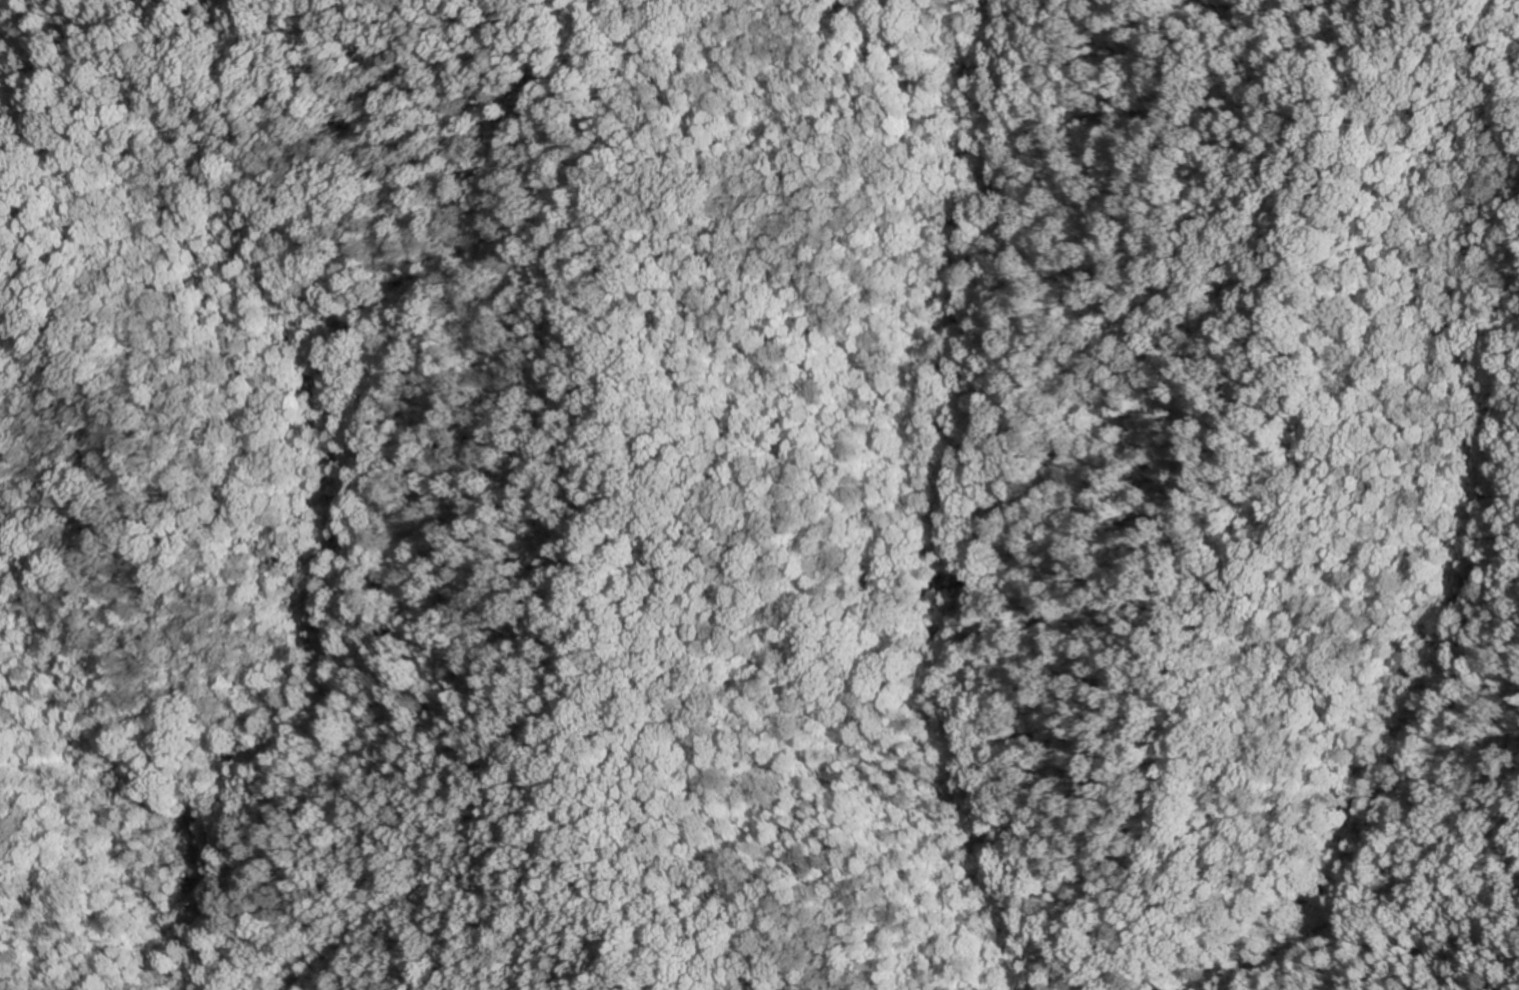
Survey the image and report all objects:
road: (189, 894)
road: (1229, 947)

